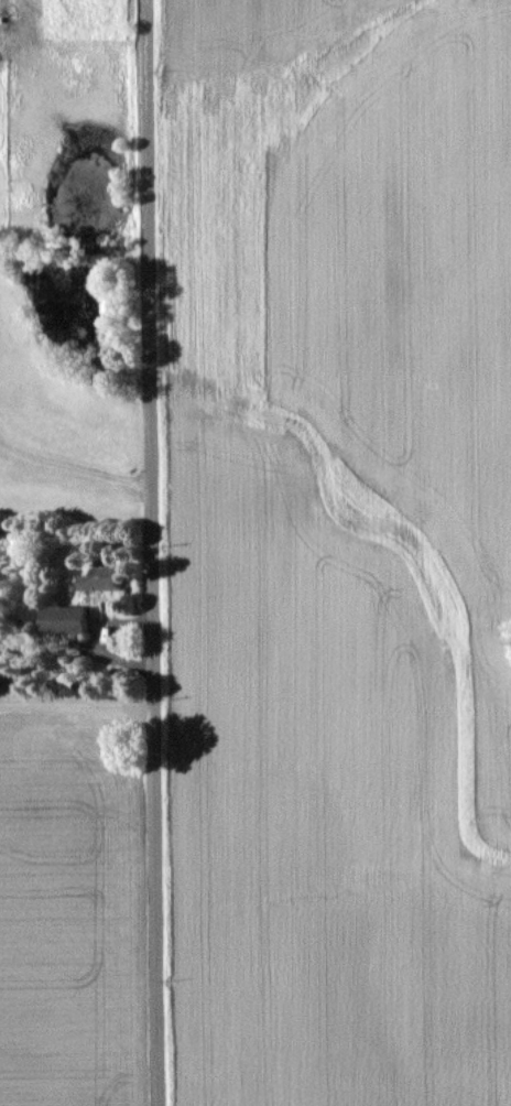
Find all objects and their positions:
road: (1, 448)
road: (74, 468)
road: (150, 553)
building: (102, 578)
building: (65, 618)

